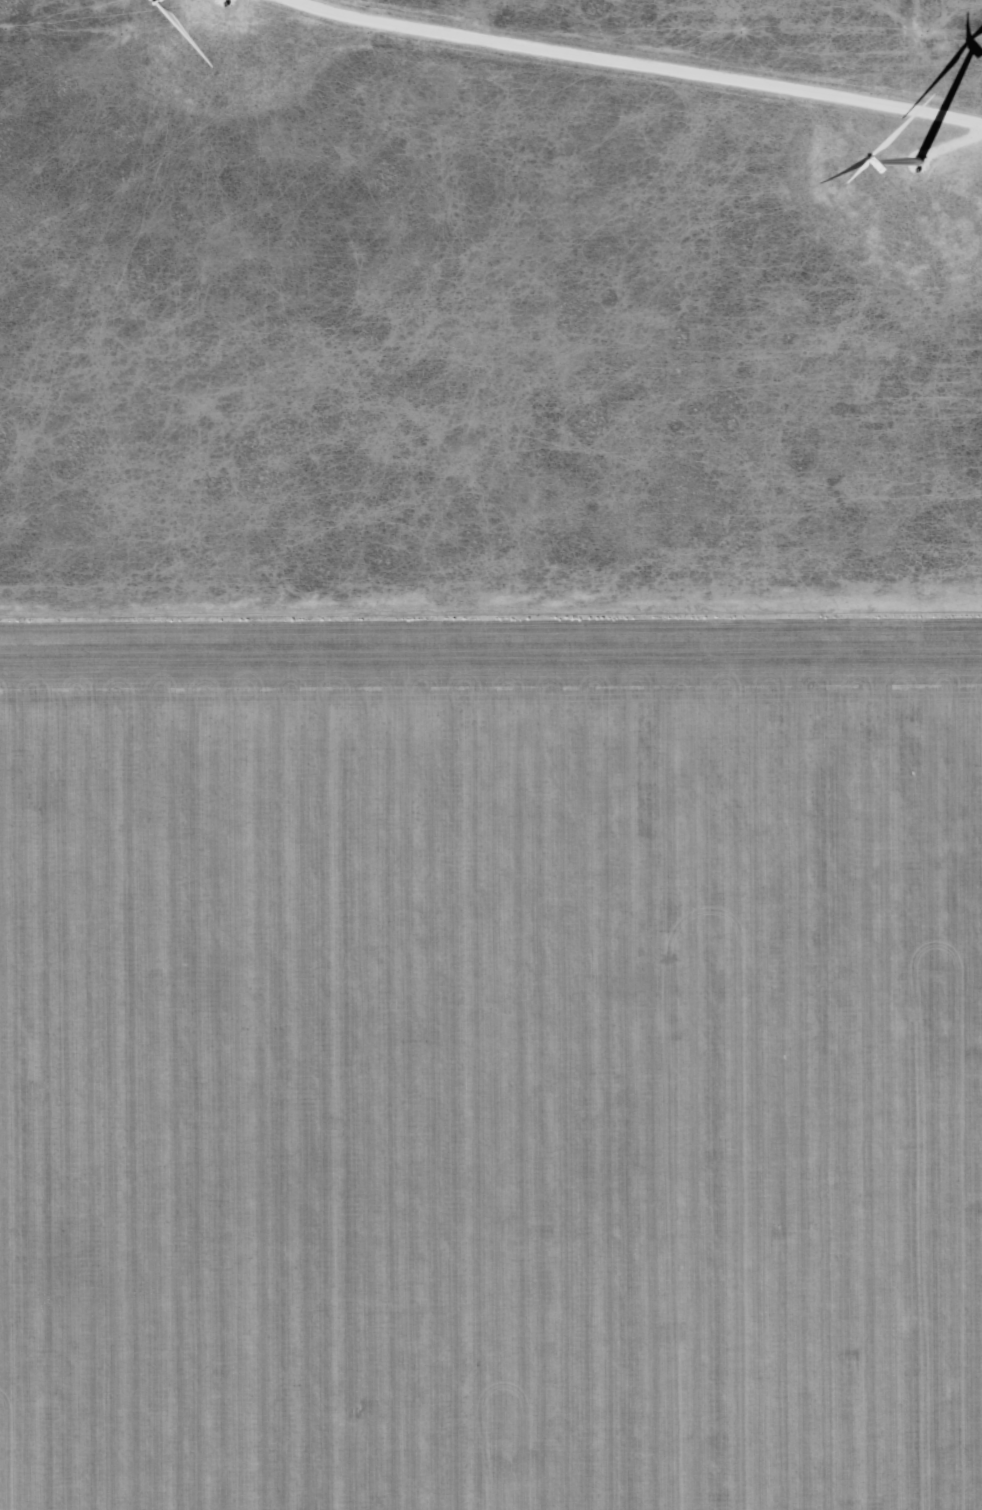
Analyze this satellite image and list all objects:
wind turbine: (918, 166)

